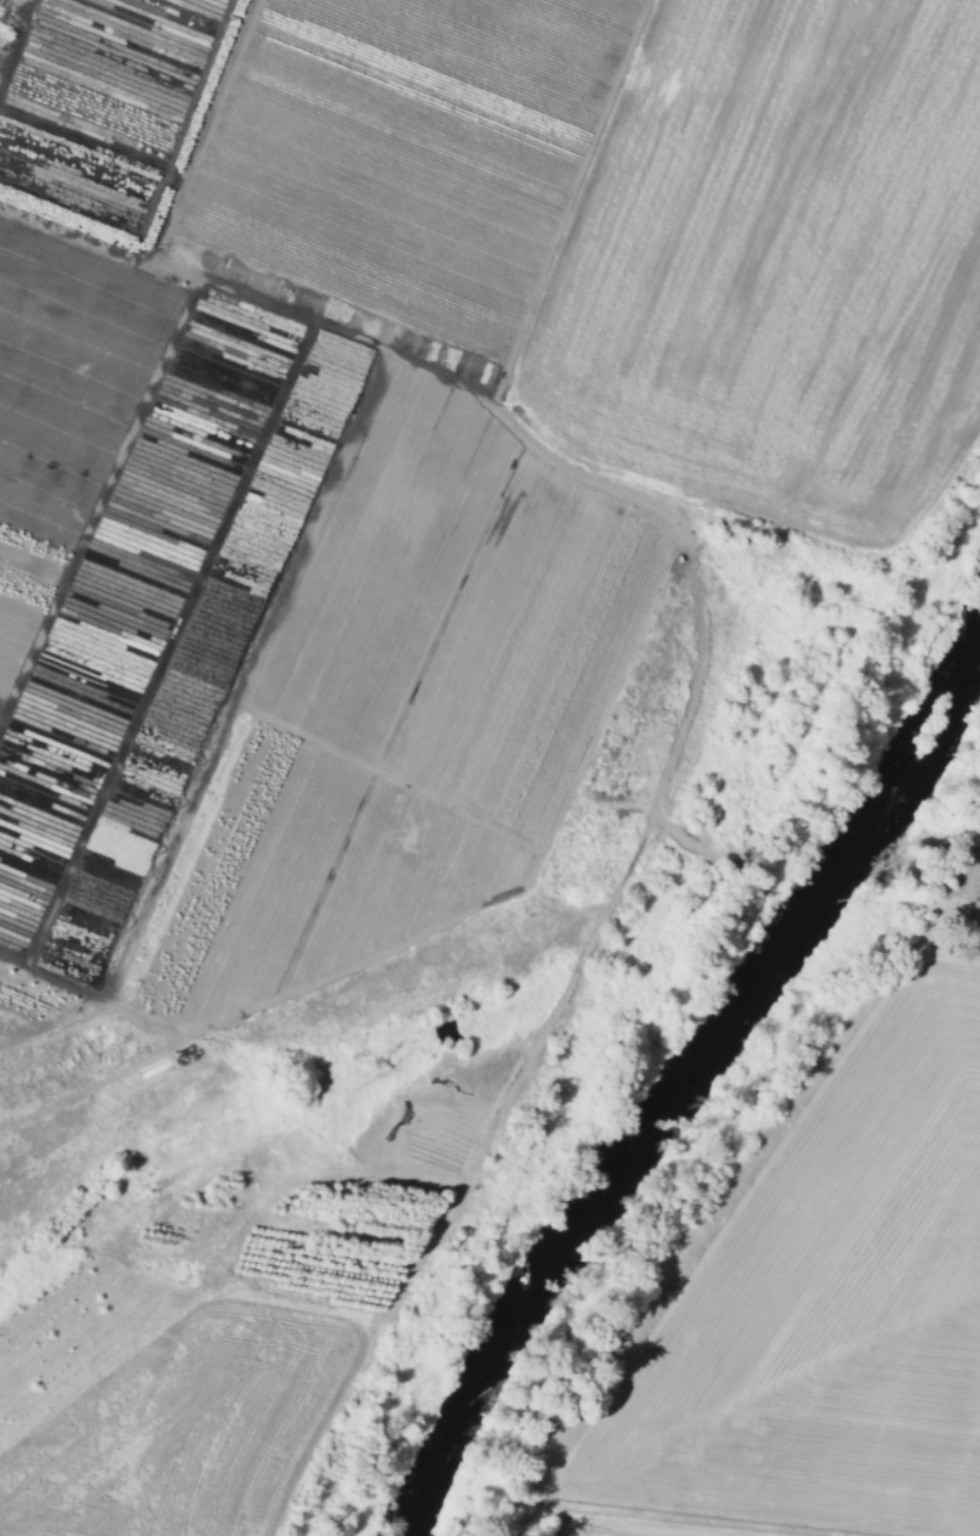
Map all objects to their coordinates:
road: (17, 45)
road: (170, 206)
crop: (704, 251)
crop: (899, 292)
road: (98, 503)
road: (168, 645)
road: (697, 657)
road: (225, 723)
road: (388, 777)
crop: (971, 877)
road: (428, 927)
road: (134, 1013)
river: (684, 1075)
crop: (832, 1304)
crop: (161, 1397)
crop: (641, 1527)

